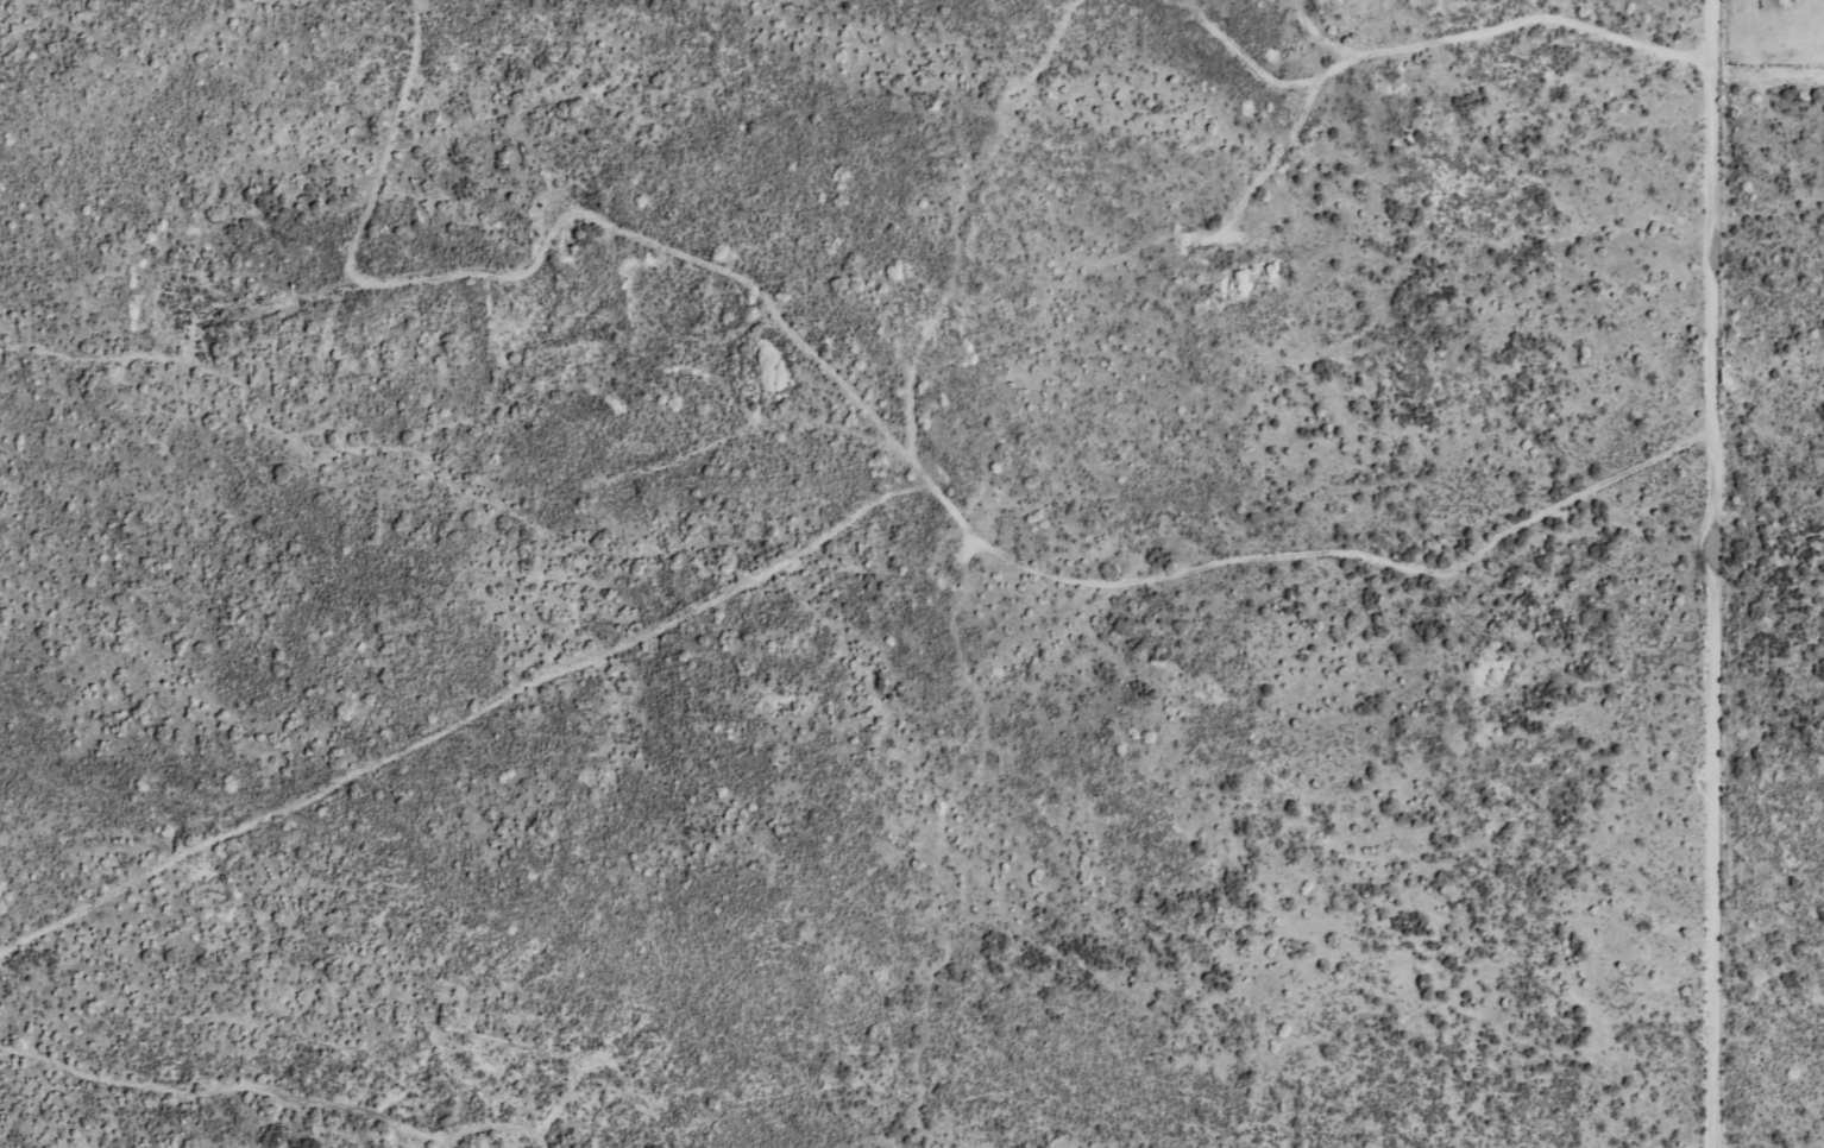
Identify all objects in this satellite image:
road: (1710, 573)

